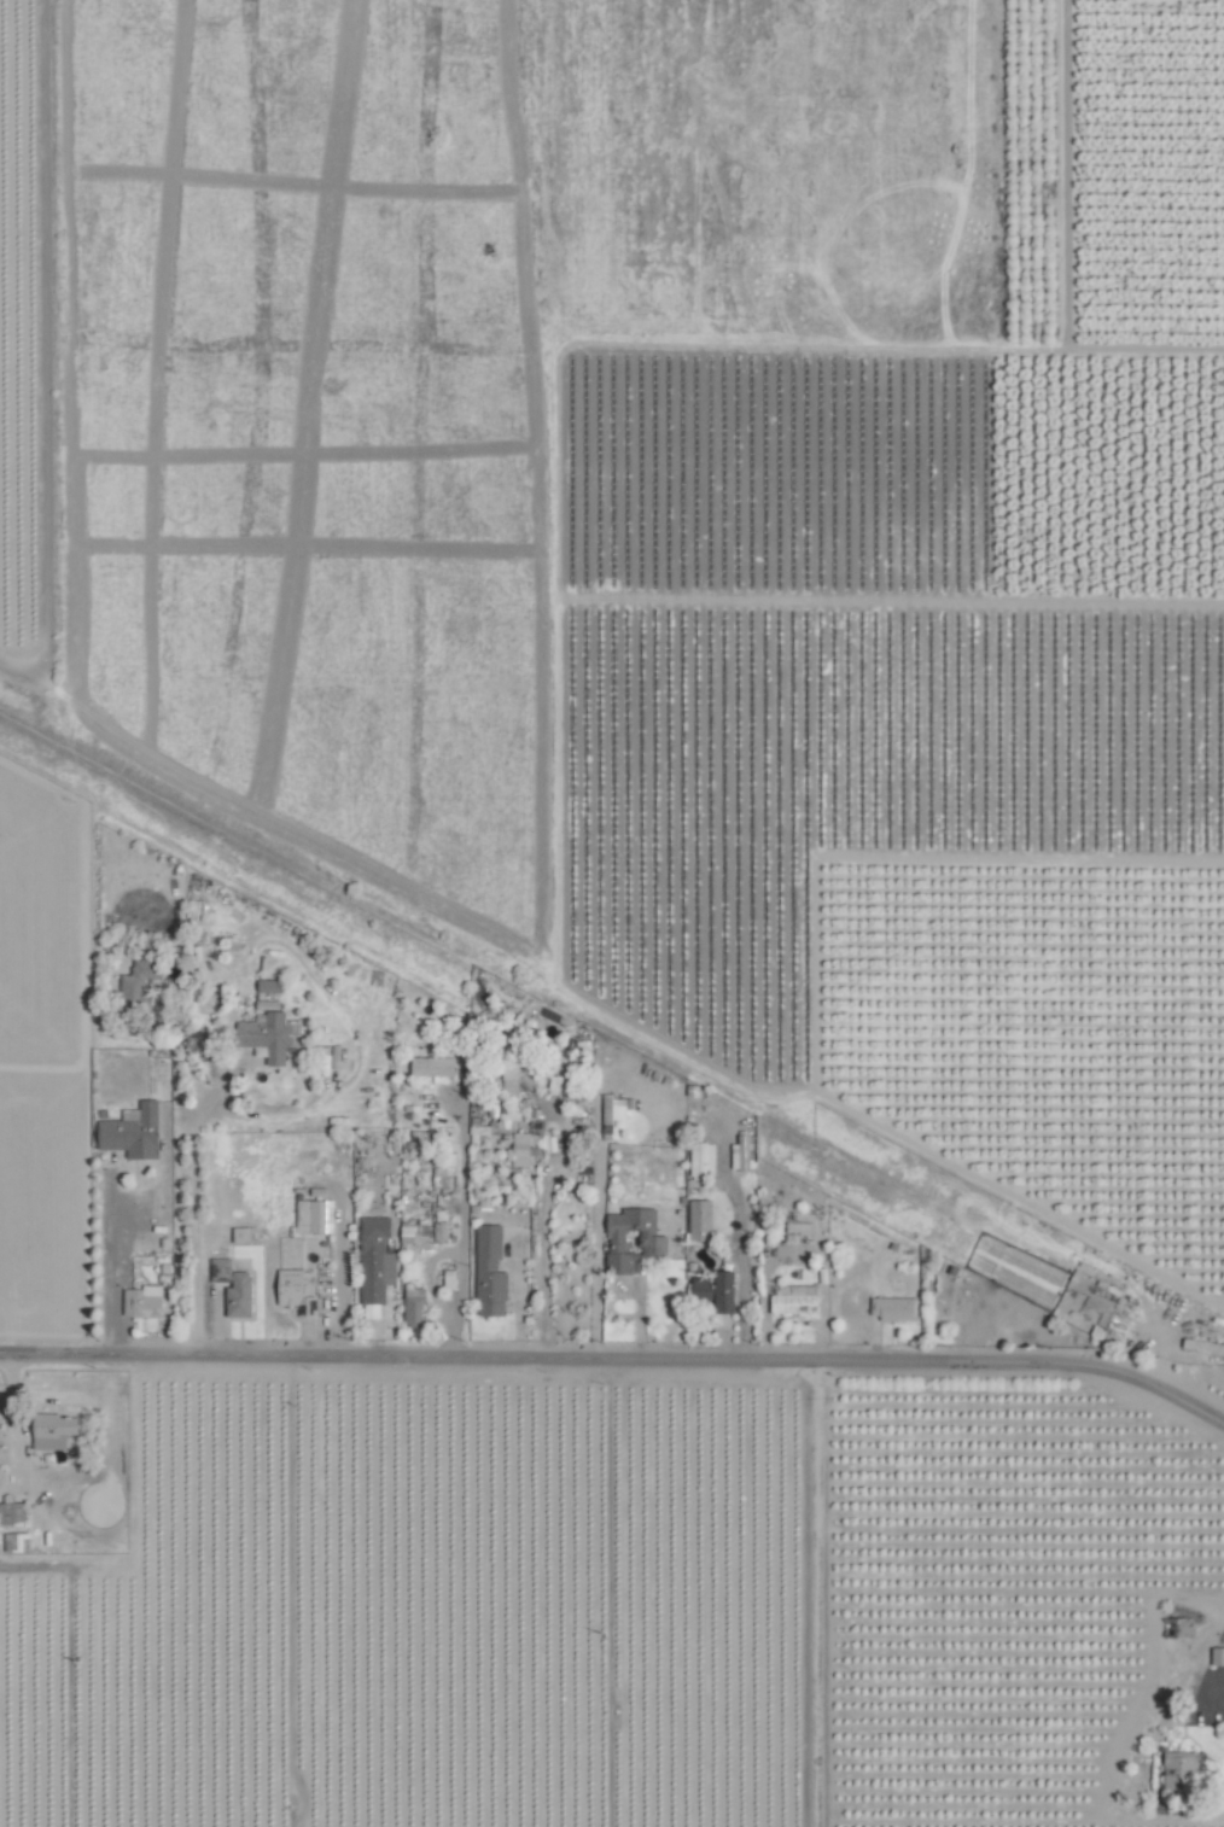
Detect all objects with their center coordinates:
crop: (29, 274)
crop: (314, 474)
building: (135, 980)
building: (266, 986)
crop: (785, 1022)
building: (267, 1033)
building: (429, 1067)
building: (495, 1119)
building: (128, 1131)
building: (738, 1152)
building: (698, 1160)
building: (517, 1166)
building: (310, 1216)
building: (696, 1220)
road: (460, 1222)
road: (193, 1224)
building: (438, 1226)
building: (793, 1226)
building: (412, 1231)
building: (239, 1234)
building: (629, 1238)
building: (372, 1260)
road: (543, 1262)
road: (111, 1269)
building: (486, 1272)
building: (445, 1279)
building: (231, 1288)
building: (288, 1291)
building: (711, 1291)
building: (140, 1301)
building: (791, 1301)
building: (410, 1303)
building: (891, 1308)
building: (1200, 1346)
road: (620, 1360)
building: (48, 1430)
road: (12, 1431)
building: (10, 1514)
road: (134, 1524)
building: (1216, 1656)
building: (1175, 1771)

